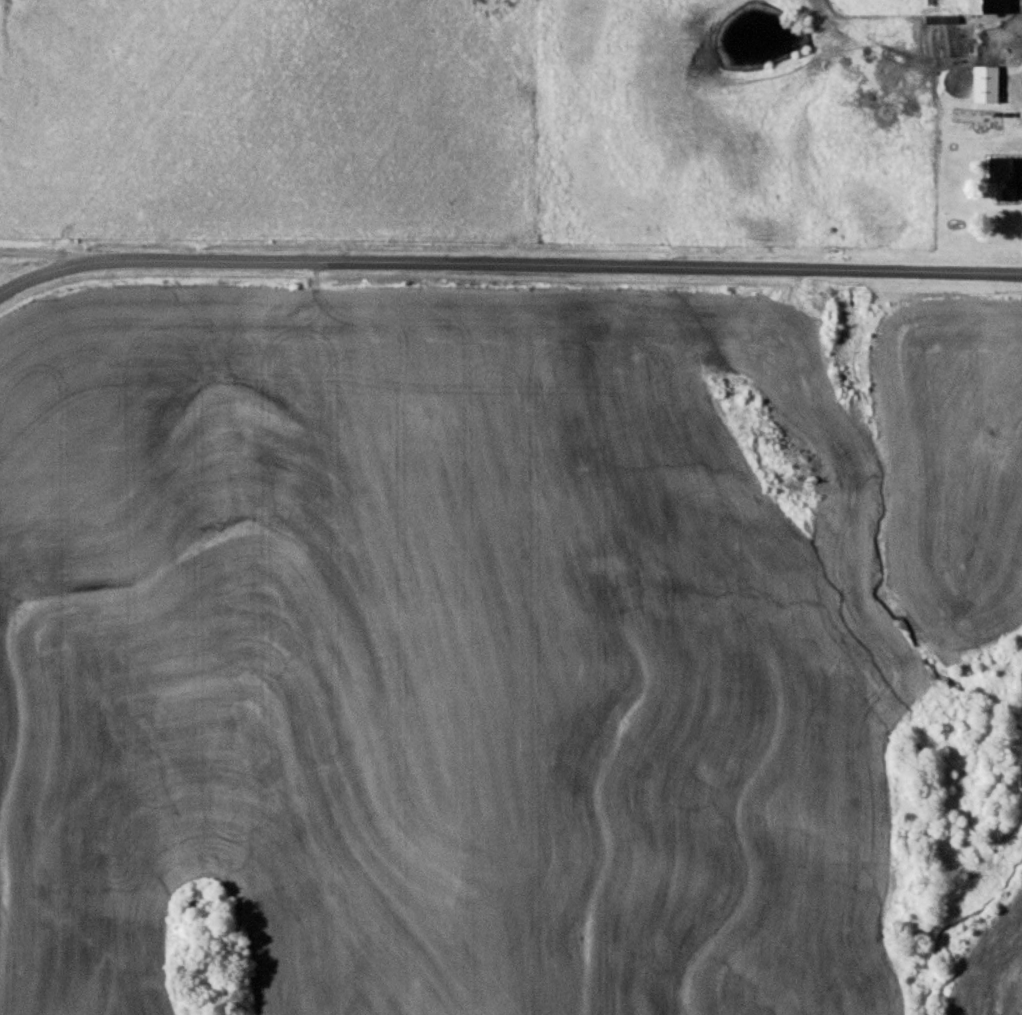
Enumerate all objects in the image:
building: (986, 4)
building: (985, 80)
building: (1001, 172)
road: (40, 250)
road: (507, 260)

